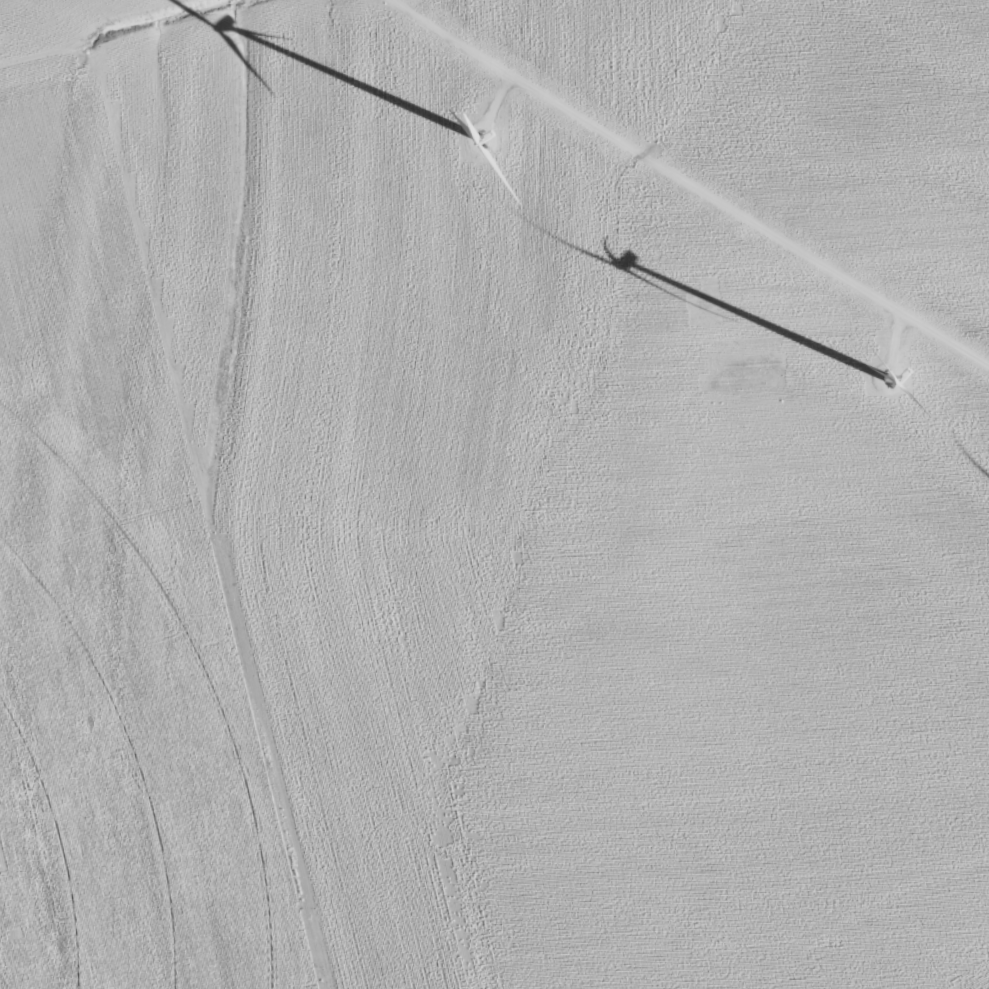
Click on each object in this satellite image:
wind turbine: (476, 131)
road: (689, 184)
wind turbine: (869, 392)

